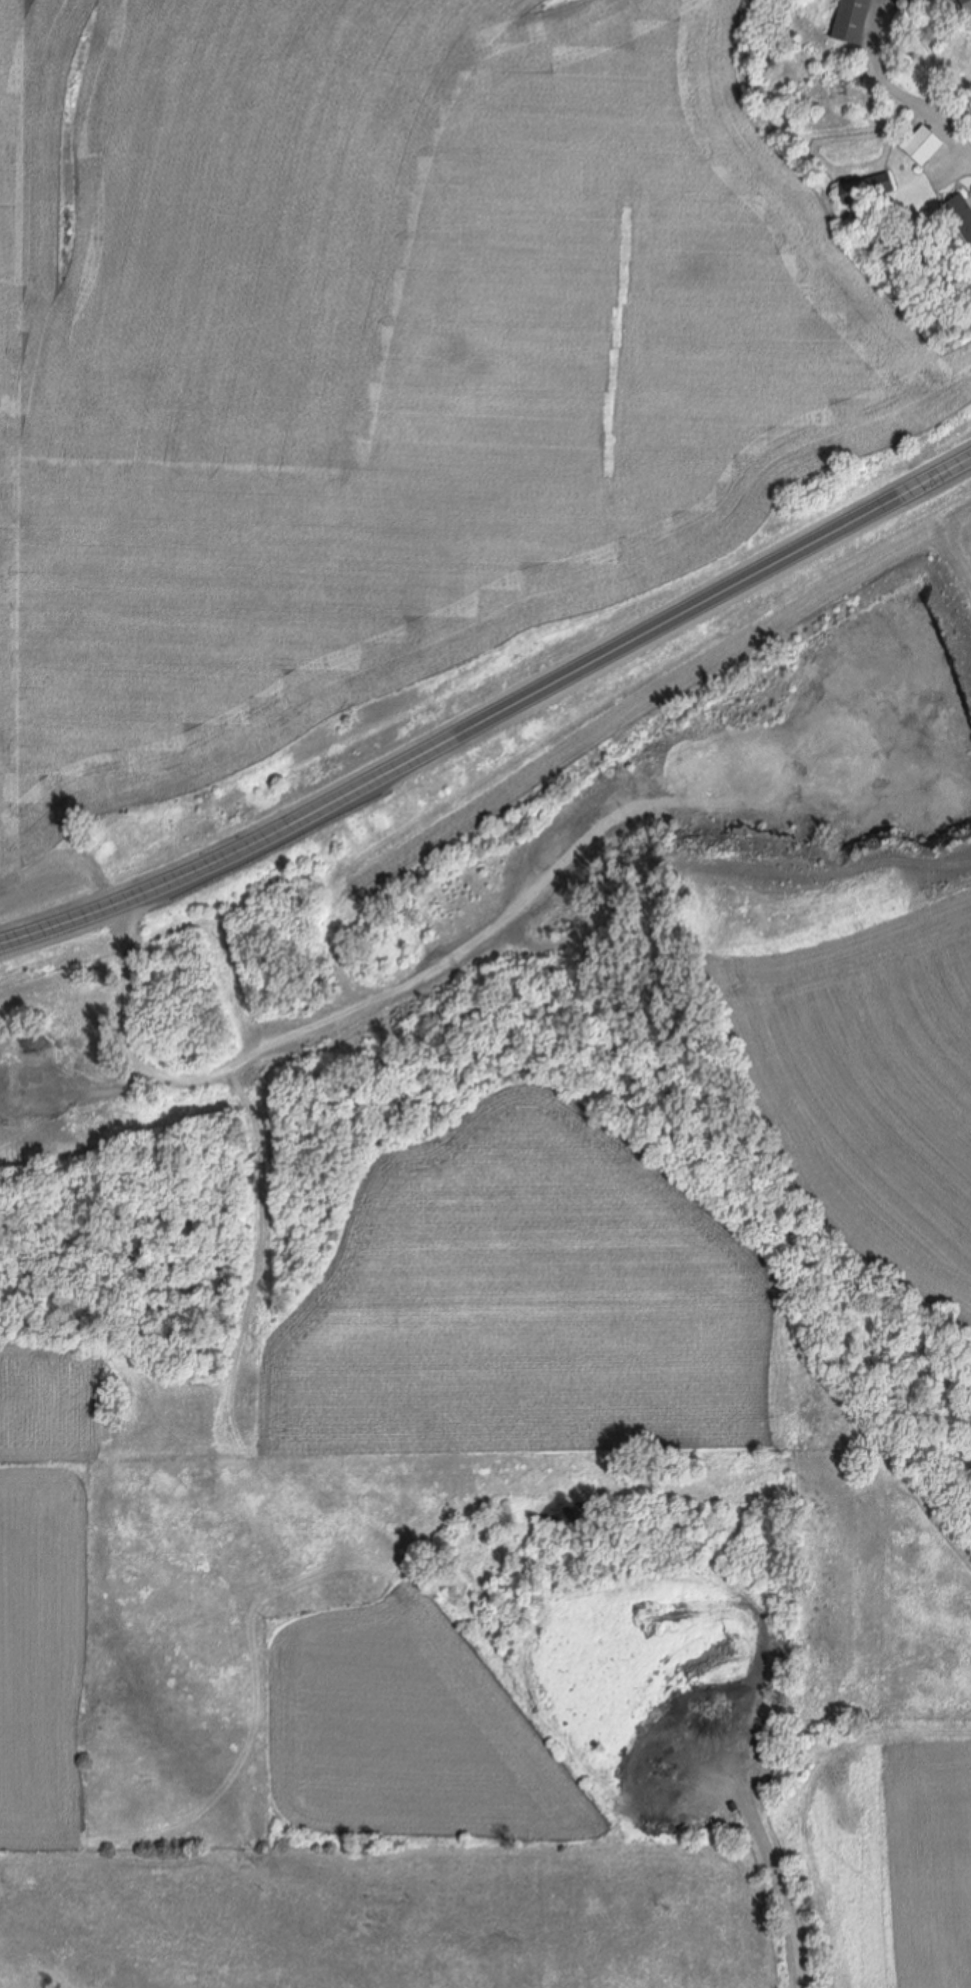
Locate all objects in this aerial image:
building: (967, 6)
building: (853, 21)
road: (898, 89)
building: (924, 145)
building: (865, 188)
building: (962, 213)
building: (925, 249)
road: (492, 720)

